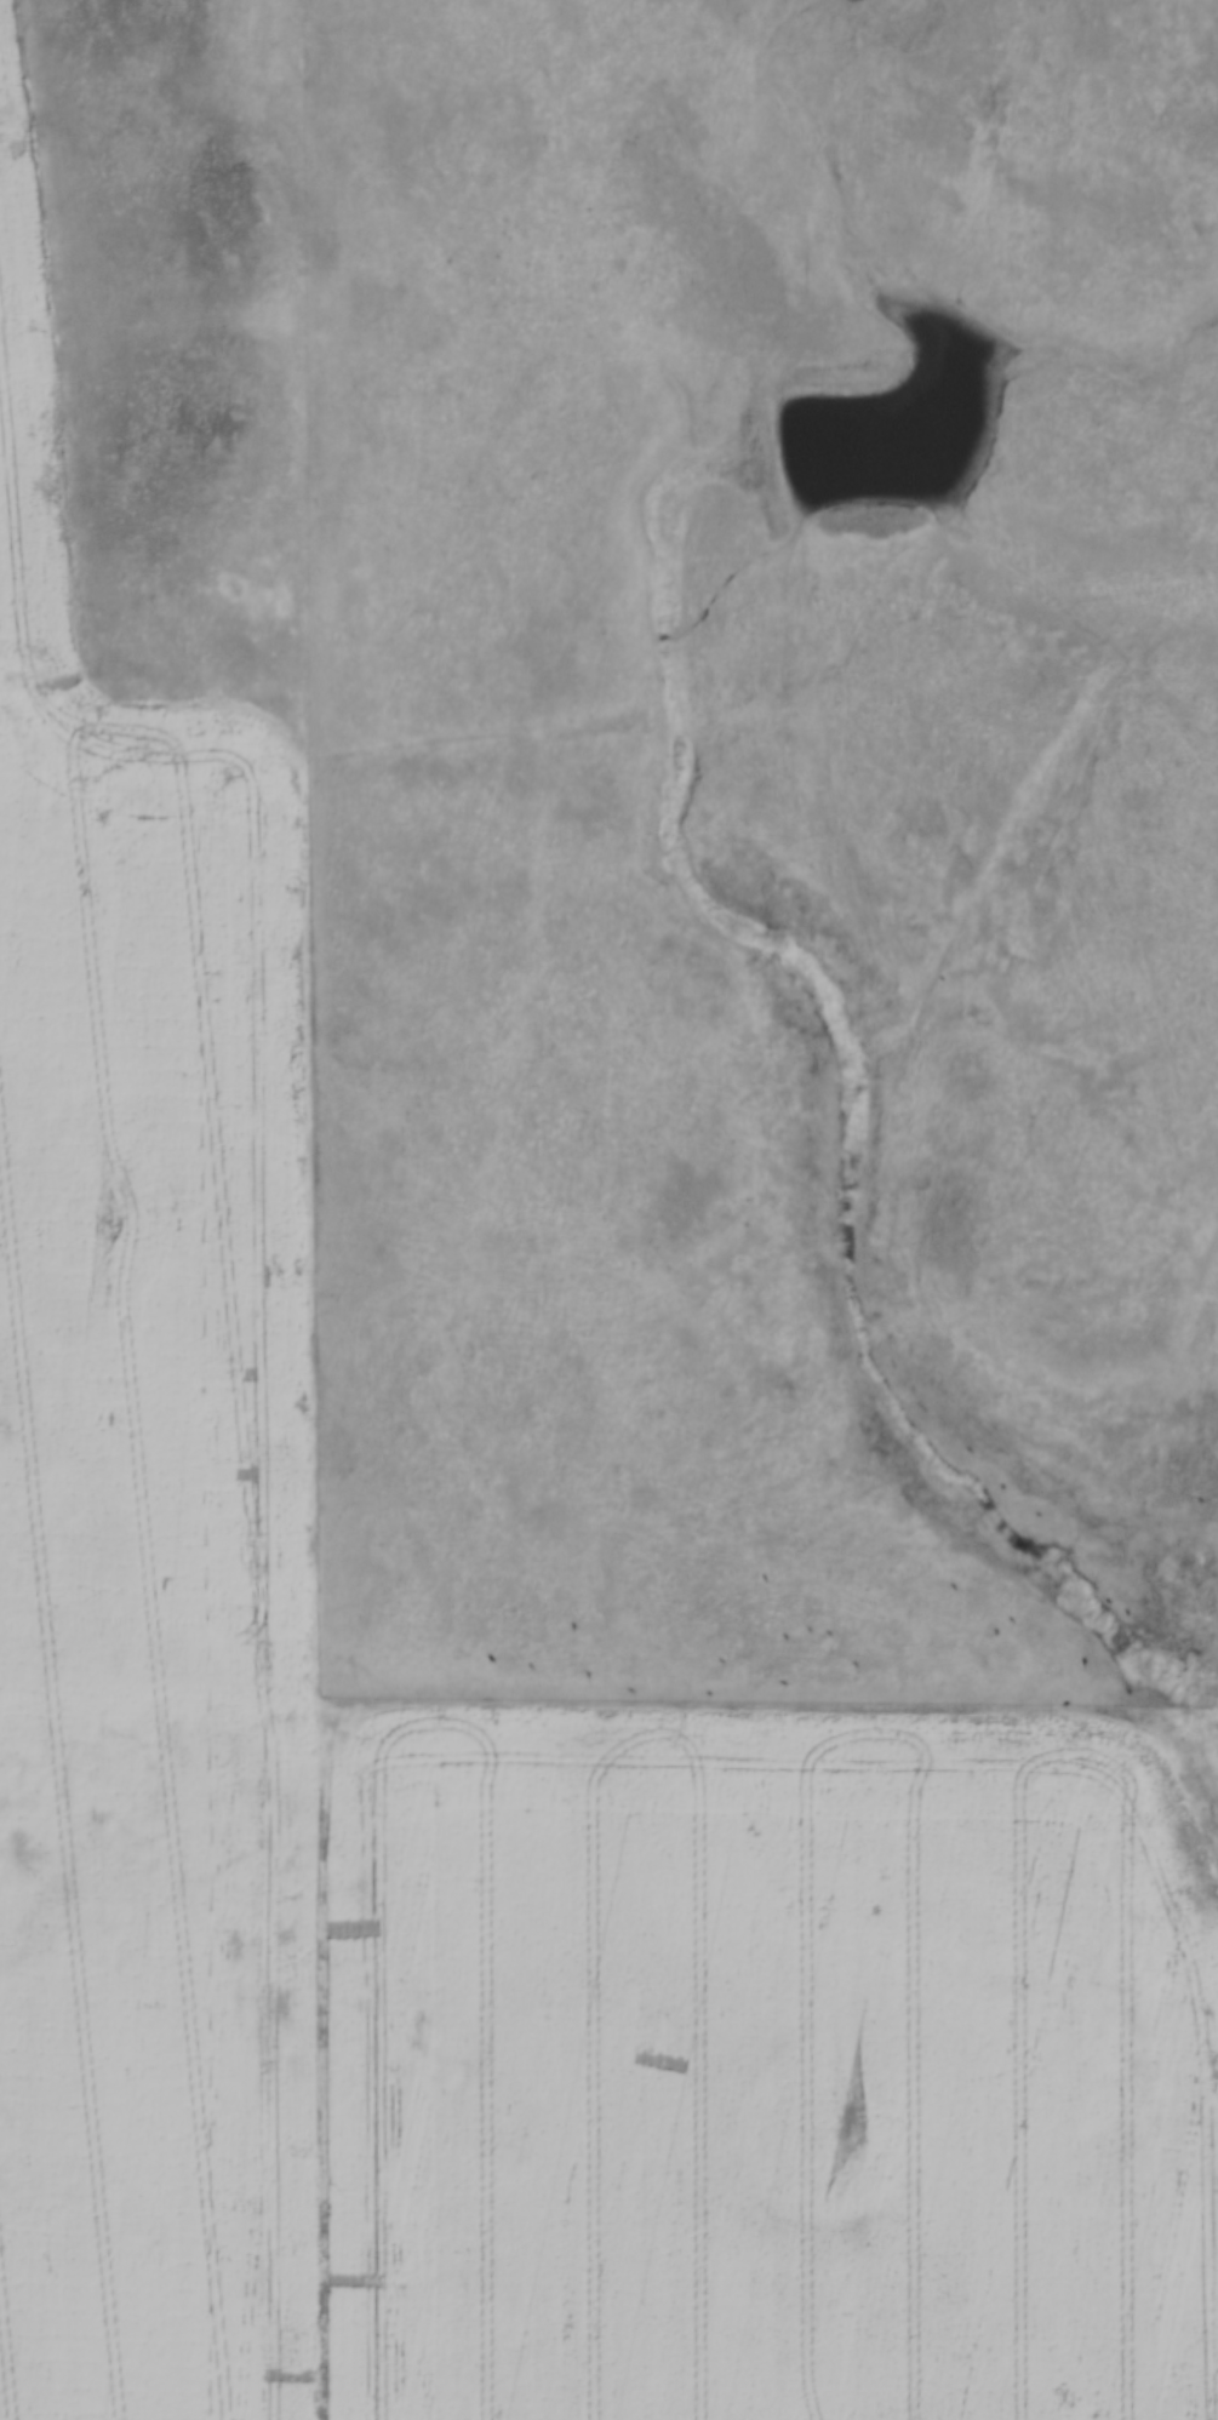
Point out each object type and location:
road: (1005, 254)
road: (835, 763)

